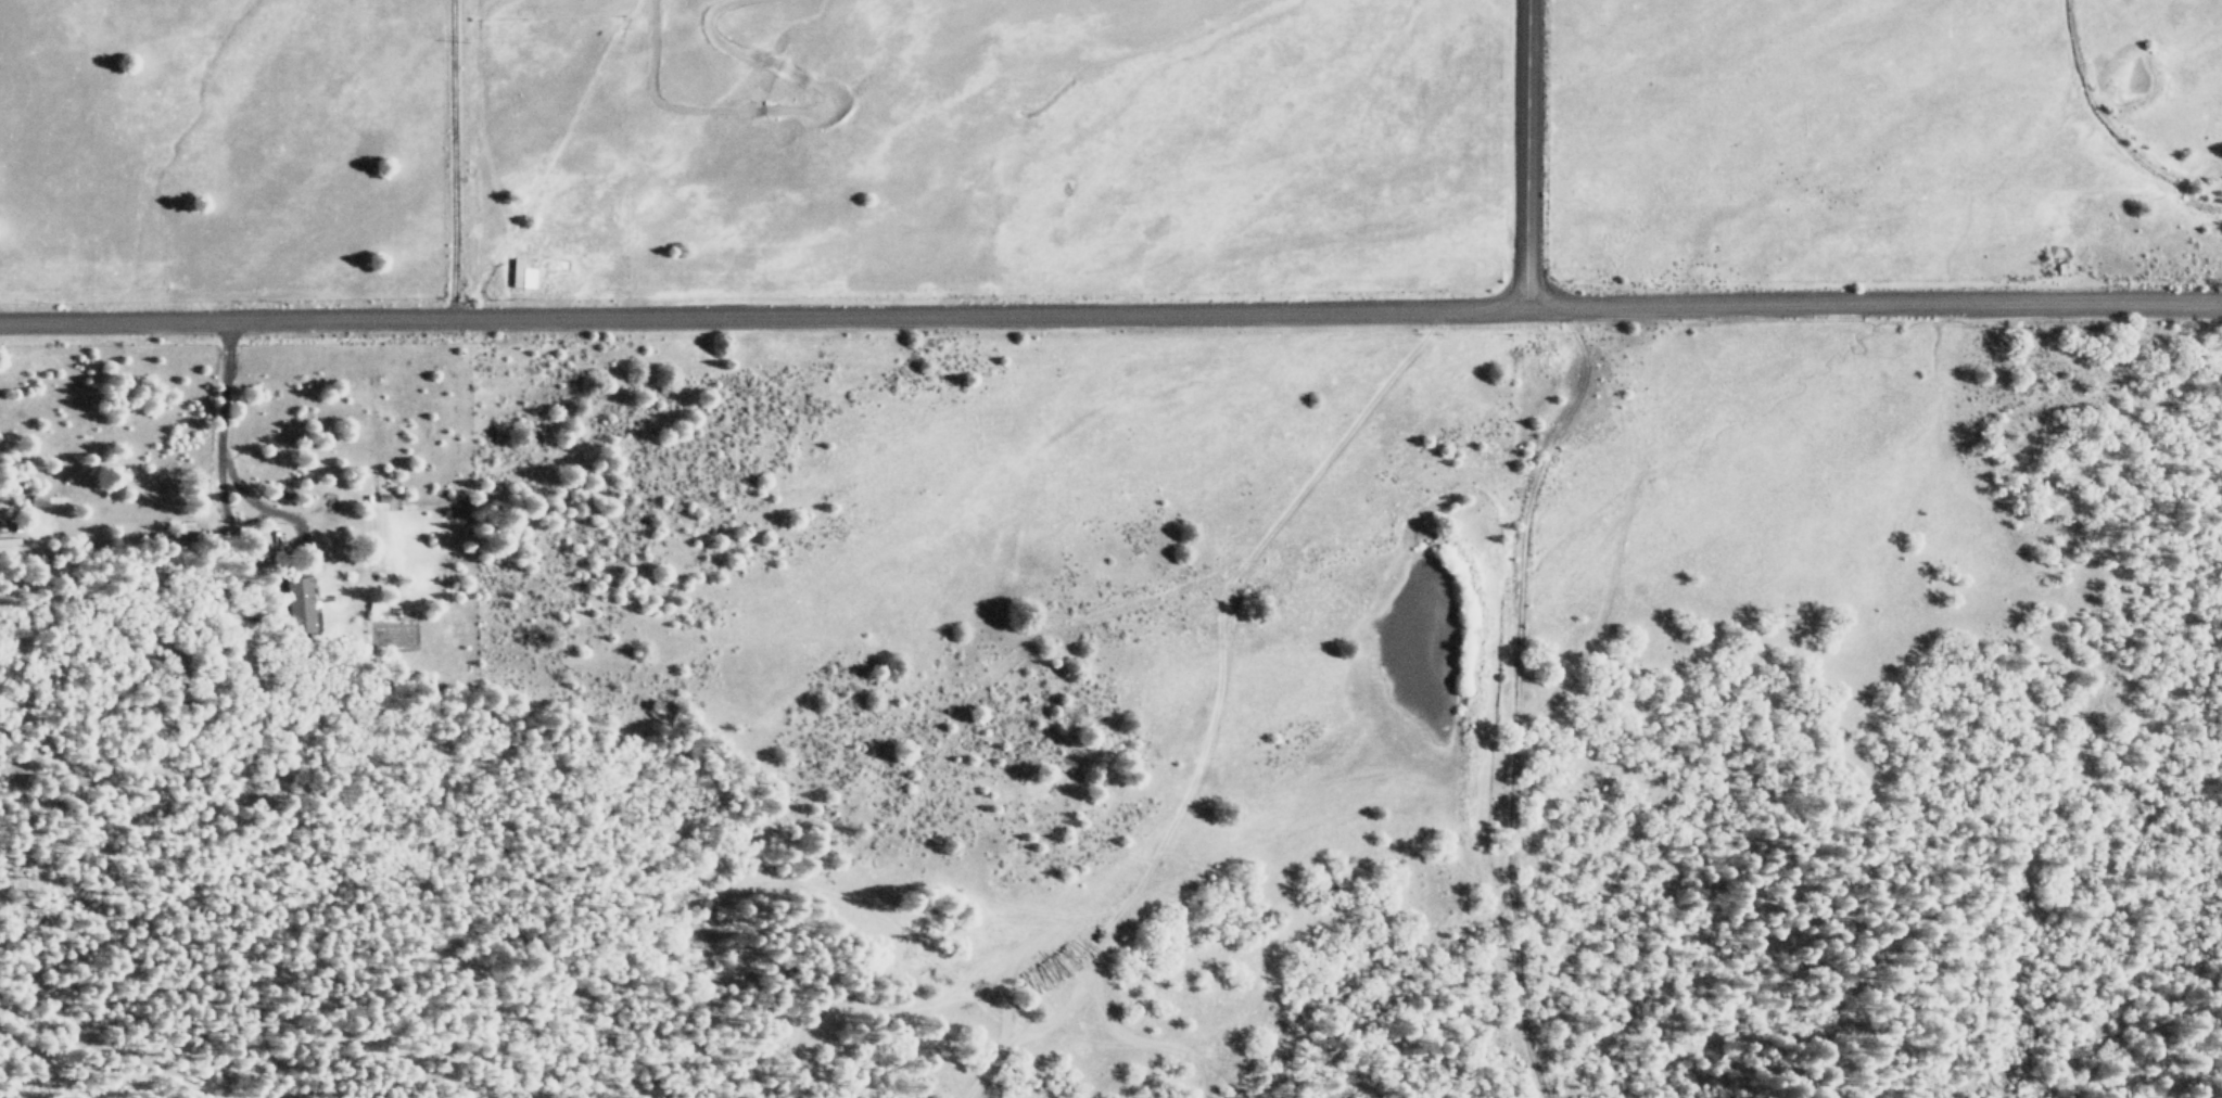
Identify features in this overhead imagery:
road: (1526, 153)
building: (522, 273)
road: (1874, 304)
road: (763, 314)
building: (299, 603)

